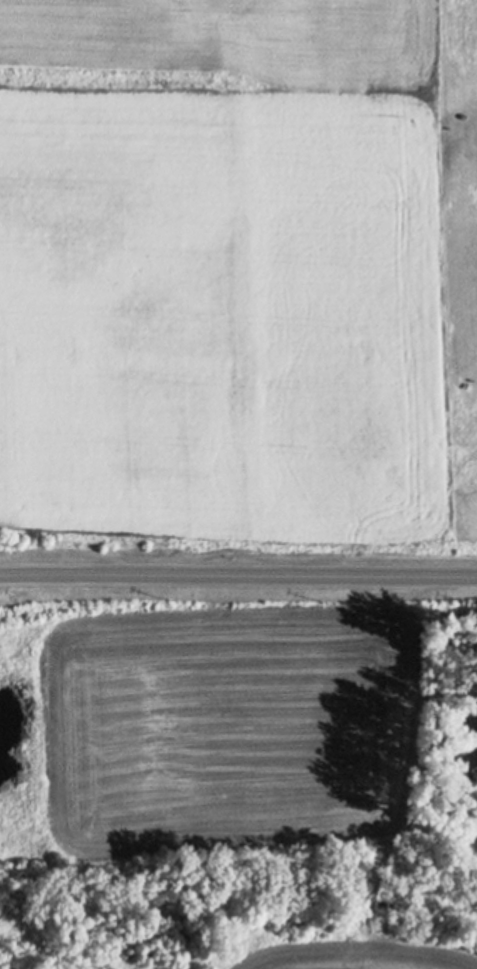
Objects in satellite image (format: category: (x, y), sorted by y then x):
road: (238, 573)
building: (468, 719)
building: (467, 756)

